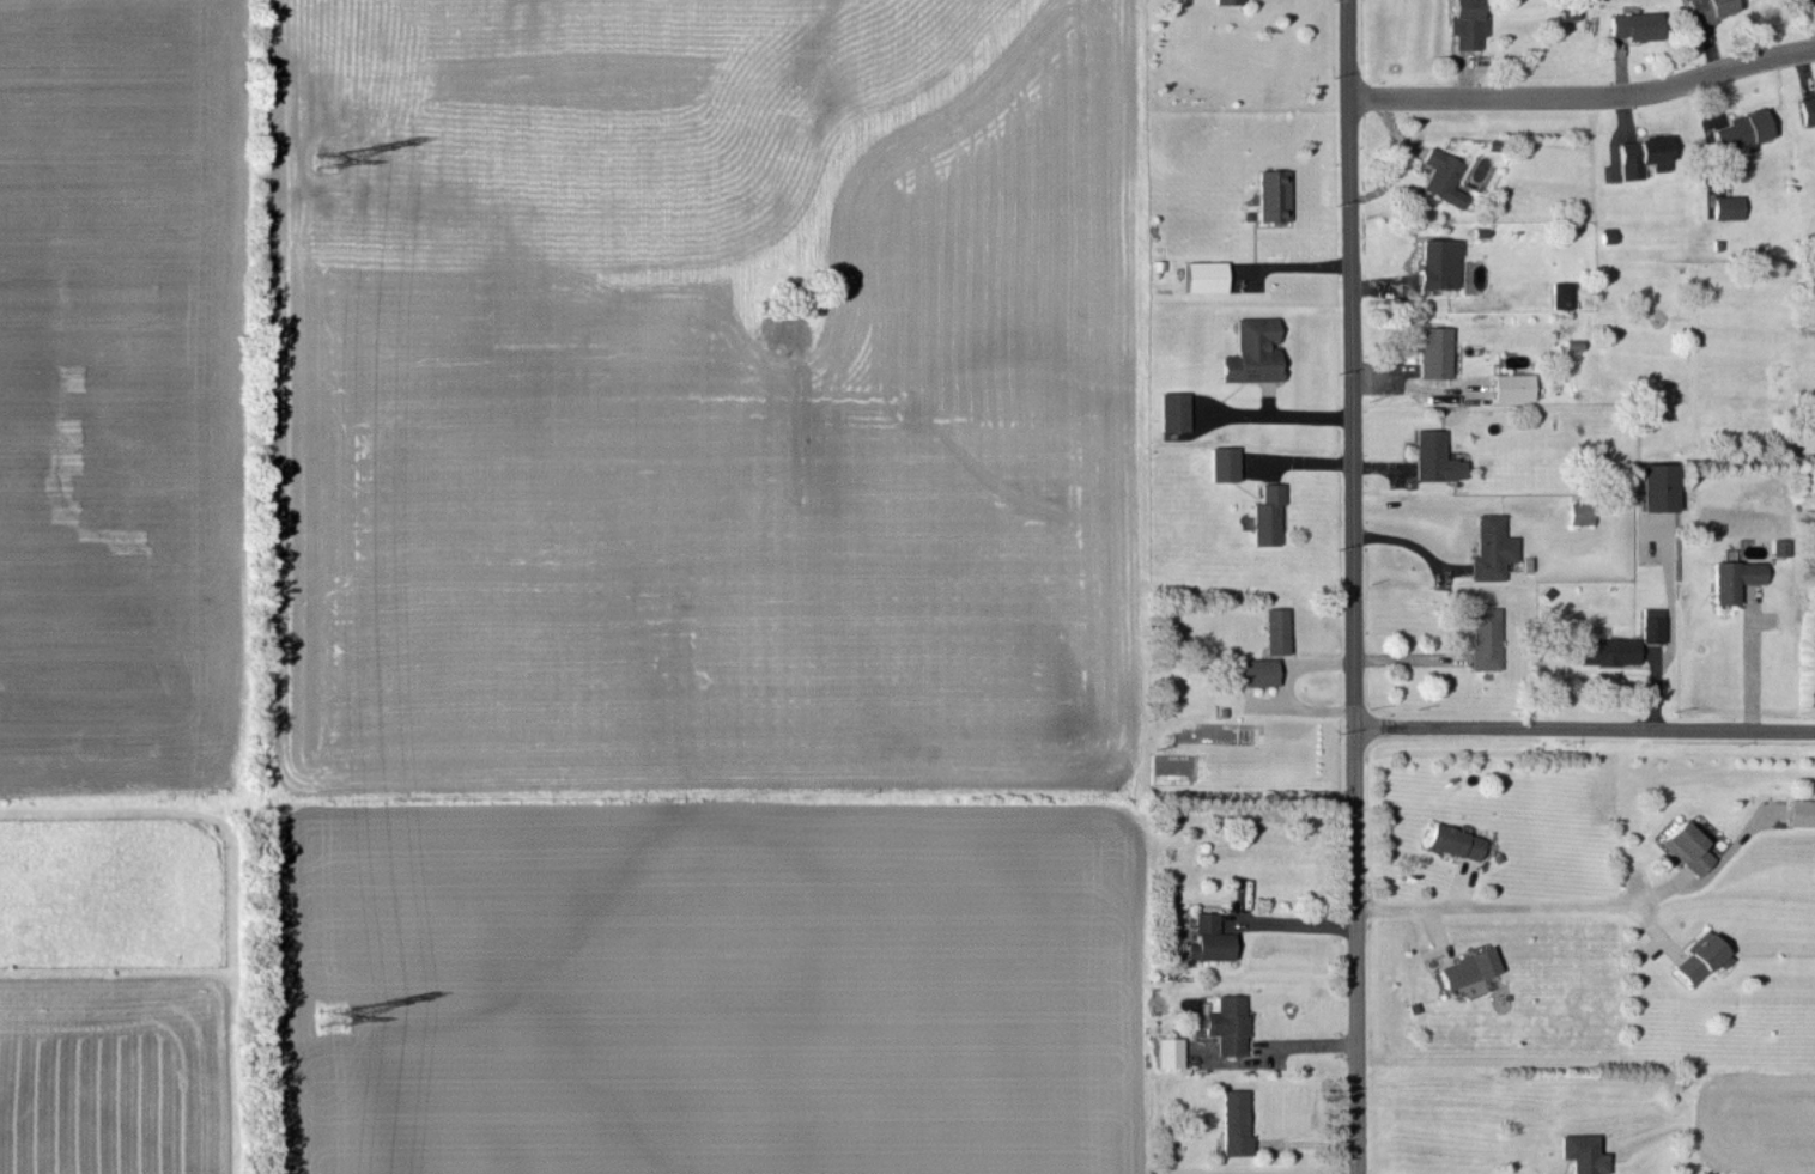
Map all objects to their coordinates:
building: (1225, 1)
building: (1707, 10)
building: (1462, 23)
building: (1633, 24)
road: (1585, 90)
building: (1807, 109)
building: (1741, 128)
building: (1640, 154)
power tower: (328, 159)
building: (1439, 176)
building: (1270, 194)
building: (1725, 206)
building: (1435, 262)
road: (1289, 263)
building: (1202, 275)
building: (1250, 351)
building: (1432, 351)
building: (1510, 385)
building: (1171, 410)
road: (1292, 416)
building: (1432, 456)
building: (1221, 462)
building: (1655, 486)
building: (1577, 512)
building: (1264, 513)
building: (1778, 546)
building: (1488, 547)
building: (1730, 576)
road: (1355, 586)
building: (1650, 627)
building: (1274, 629)
building: (1482, 637)
building: (1607, 650)
road: (1741, 662)
building: (1256, 670)
road: (1585, 729)
building: (1801, 811)
building: (1452, 840)
building: (1686, 846)
road: (1586, 901)
road: (1295, 921)
building: (1207, 938)
building: (1699, 957)
building: (1465, 967)
power tower: (333, 1021)
building: (1225, 1023)
building: (1166, 1051)
building: (1232, 1121)
building: (1579, 1152)

